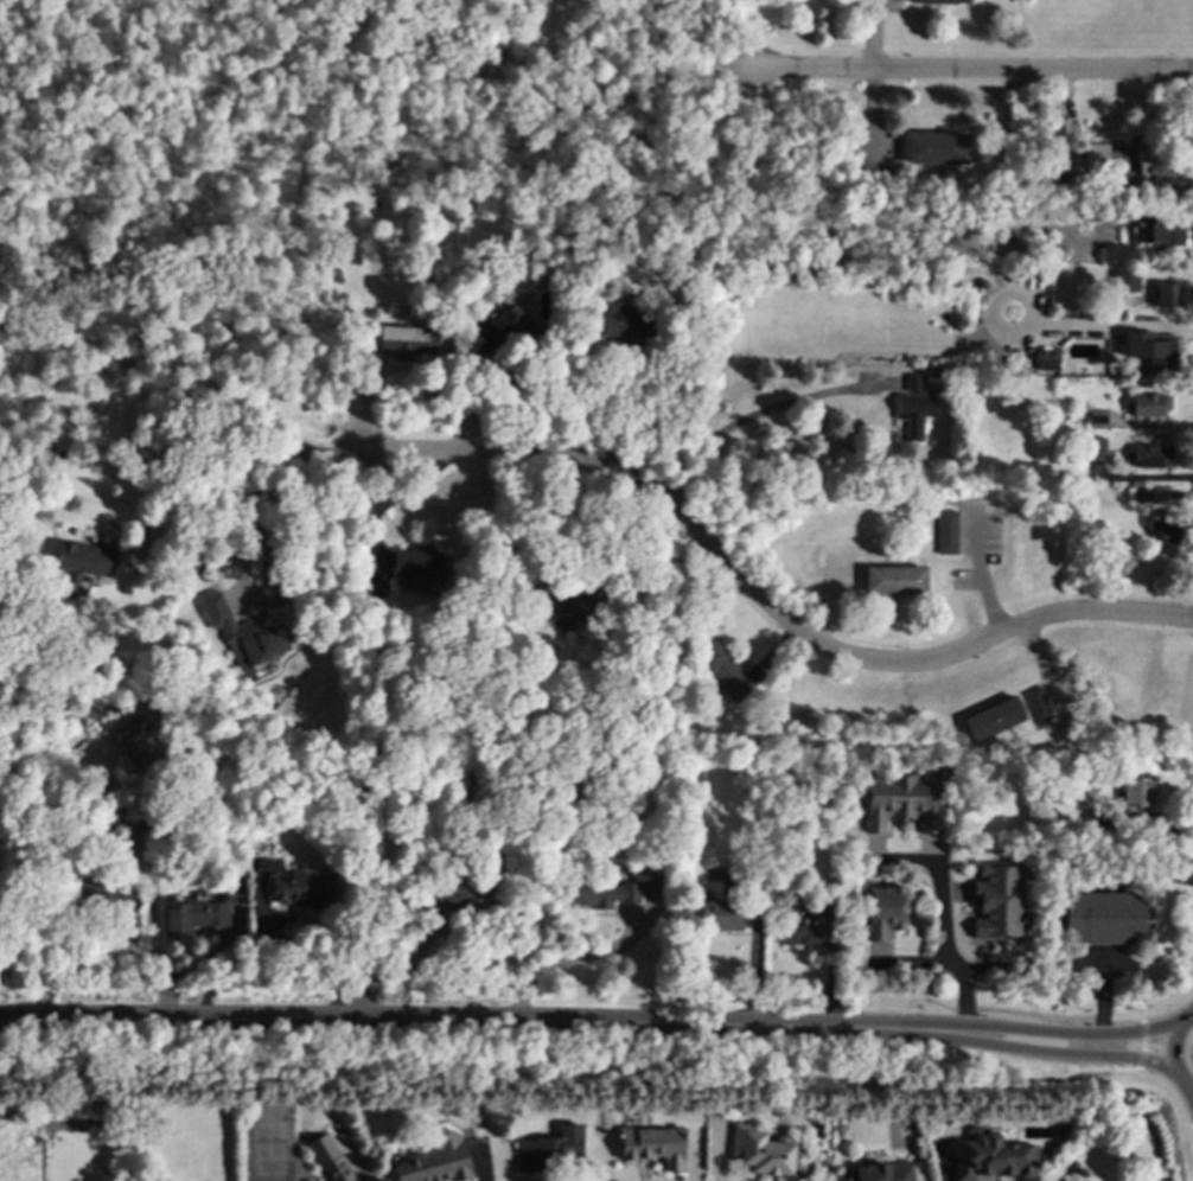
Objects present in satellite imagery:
building: (938, 1)
road: (874, 34)
road: (969, 70)
building: (937, 148)
building: (1086, 158)
building: (1161, 168)
building: (1156, 231)
building: (1125, 281)
building: (1166, 294)
building: (618, 323)
road: (1101, 323)
building: (498, 330)
building: (404, 341)
building: (1151, 349)
building: (1045, 359)
building: (1148, 403)
building: (913, 406)
road: (754, 415)
road: (640, 419)
road: (190, 433)
building: (1095, 447)
road: (337, 452)
building: (1148, 455)
building: (1141, 494)
road: (250, 505)
building: (946, 531)
building: (1161, 531)
building: (87, 560)
building: (419, 564)
building: (893, 580)
building: (576, 599)
road: (763, 601)
building: (242, 634)
building: (723, 670)
building: (1036, 704)
building: (993, 719)
building: (140, 748)
building: (1137, 791)
building: (901, 800)
road: (1147, 875)
road: (938, 886)
building: (299, 888)
building: (604, 893)
road: (155, 895)
building: (997, 901)
building: (123, 904)
building: (883, 911)
building: (193, 915)
building: (721, 915)
building: (1103, 918)
building: (803, 930)
road: (567, 957)
road: (1059, 964)
road: (401, 969)
road: (966, 997)
road: (1153, 1010)
road: (1034, 1014)
road: (1192, 1014)
road: (30, 1019)
road: (30, 1023)
road: (486, 1023)
road: (938, 1027)
road: (1071, 1033)
road: (1142, 1043)
road: (1046, 1049)
road: (1172, 1049)
road: (1101, 1064)
road: (557, 1073)
road: (1191, 1087)
road: (1169, 1092)
road: (1191, 1125)
building: (653, 1145)
building: (553, 1149)
building: (764, 1150)
building: (990, 1155)
building: (328, 1158)
building: (433, 1160)
building: (879, 1172)

